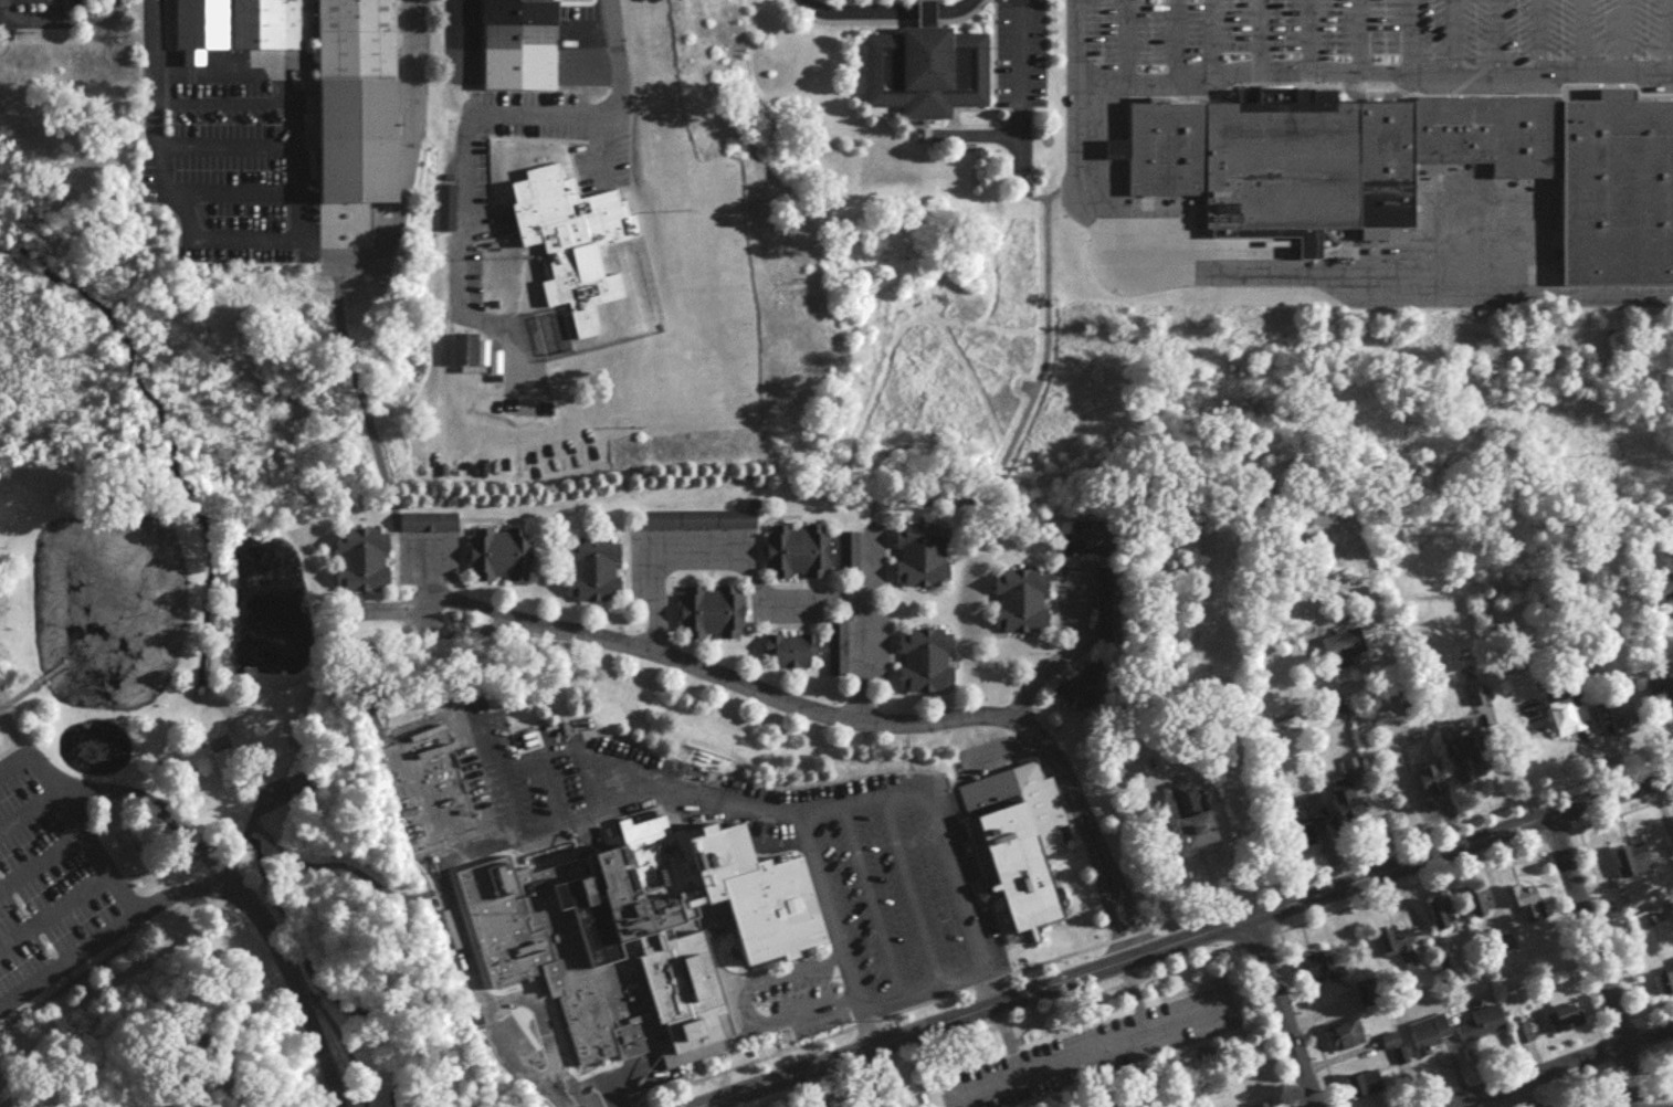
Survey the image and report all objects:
road: (887, 7)
road: (411, 15)
road: (33, 19)
road: (88, 19)
road: (457, 22)
building: (515, 24)
building: (233, 25)
road: (150, 35)
parking lot: (1375, 35)
road: (1252, 36)
road: (1301, 36)
road: (1353, 36)
road: (1401, 36)
road: (1445, 36)
road: (1490, 38)
road: (1532, 38)
road: (1575, 38)
road: (1617, 38)
road: (1661, 40)
road: (1203, 41)
road: (1118, 42)
road: (1168, 42)
building: (923, 64)
road: (1021, 71)
road: (1370, 74)
flagpole: (1221, 94)
road: (1369, 96)
building: (359, 102)
road: (551, 113)
road: (223, 145)
building: (1410, 164)
road: (232, 192)
road: (294, 219)
building: (571, 246)
road: (1261, 267)
building: (466, 357)
building: (702, 526)
building: (430, 528)
building: (1088, 544)
building: (800, 558)
building: (850, 558)
building: (502, 560)
building: (924, 561)
building: (364, 566)
building: (595, 576)
road: (759, 592)
building: (1664, 598)
building: (1023, 608)
building: (713, 620)
building: (1344, 652)
road: (1078, 654)
building: (793, 657)
building: (927, 666)
road: (39, 689)
building: (1084, 696)
park: (164, 703)
building: (1670, 703)
road: (3, 706)
road: (3, 714)
road: (848, 717)
building: (1568, 723)
building: (1622, 723)
road: (18, 746)
building: (1475, 766)
building: (227, 768)
building: (1353, 773)
road: (1408, 778)
building: (1124, 780)
helipad: (617, 787)
building: (1432, 788)
road: (149, 806)
building: (1347, 808)
building: (1309, 814)
road: (813, 818)
building: (1195, 823)
road: (74, 833)
building: (1011, 839)
building: (1634, 867)
parking lot: (49, 893)
road: (912, 894)
road: (870, 905)
building: (1480, 906)
building: (1523, 906)
road: (830, 916)
building: (1442, 918)
building: (664, 939)
road: (1197, 942)
road: (272, 948)
building: (1399, 951)
road: (1595, 961)
road: (67, 966)
building: (1316, 973)
road: (527, 981)
building: (1665, 983)
road: (903, 997)
road: (737, 1008)
road: (1281, 1016)
building: (1564, 1024)
road: (865, 1029)
building: (1481, 1030)
building: (1428, 1039)
building: (1346, 1040)
building: (1391, 1045)
road: (1555, 1067)
building: (1367, 1088)
building: (1271, 1106)

